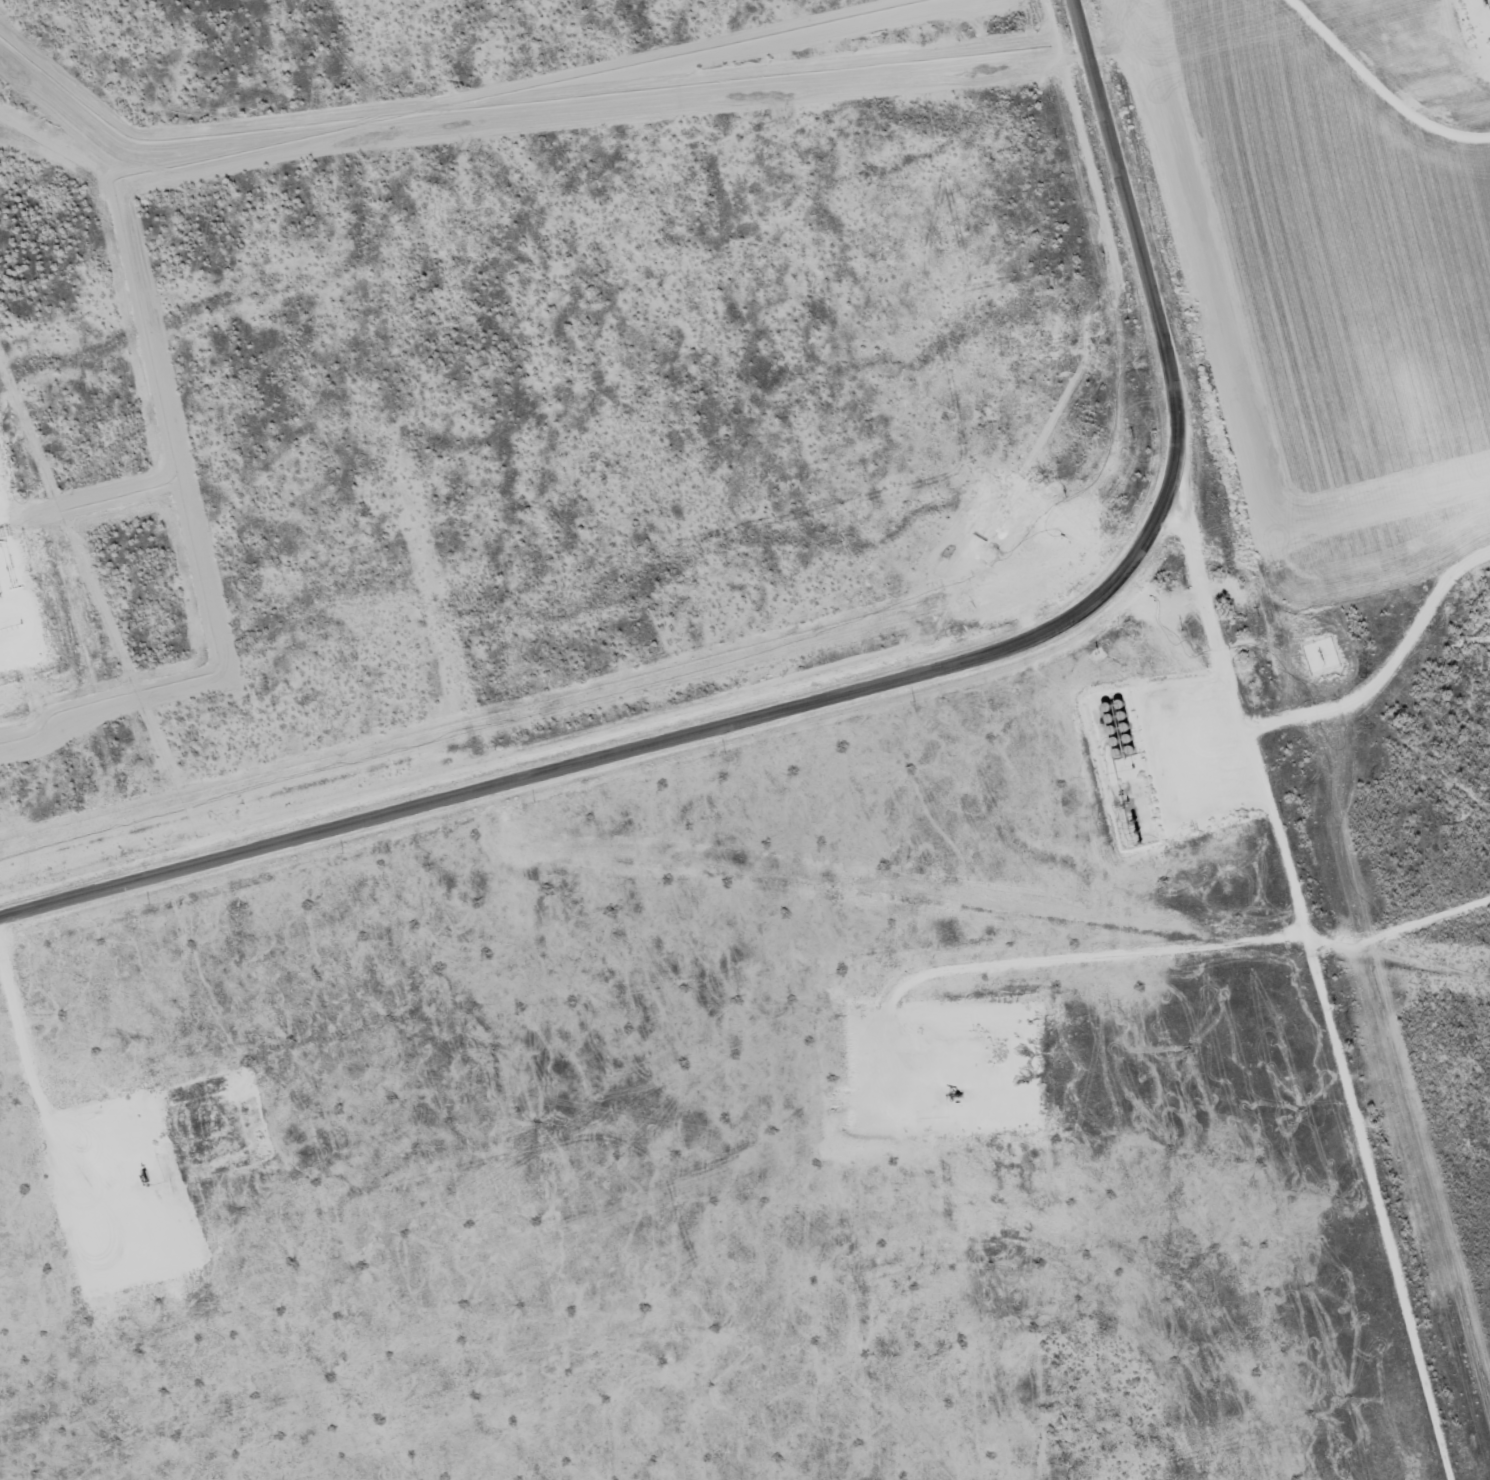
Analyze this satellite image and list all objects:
road: (1128, 271)
road: (603, 777)

